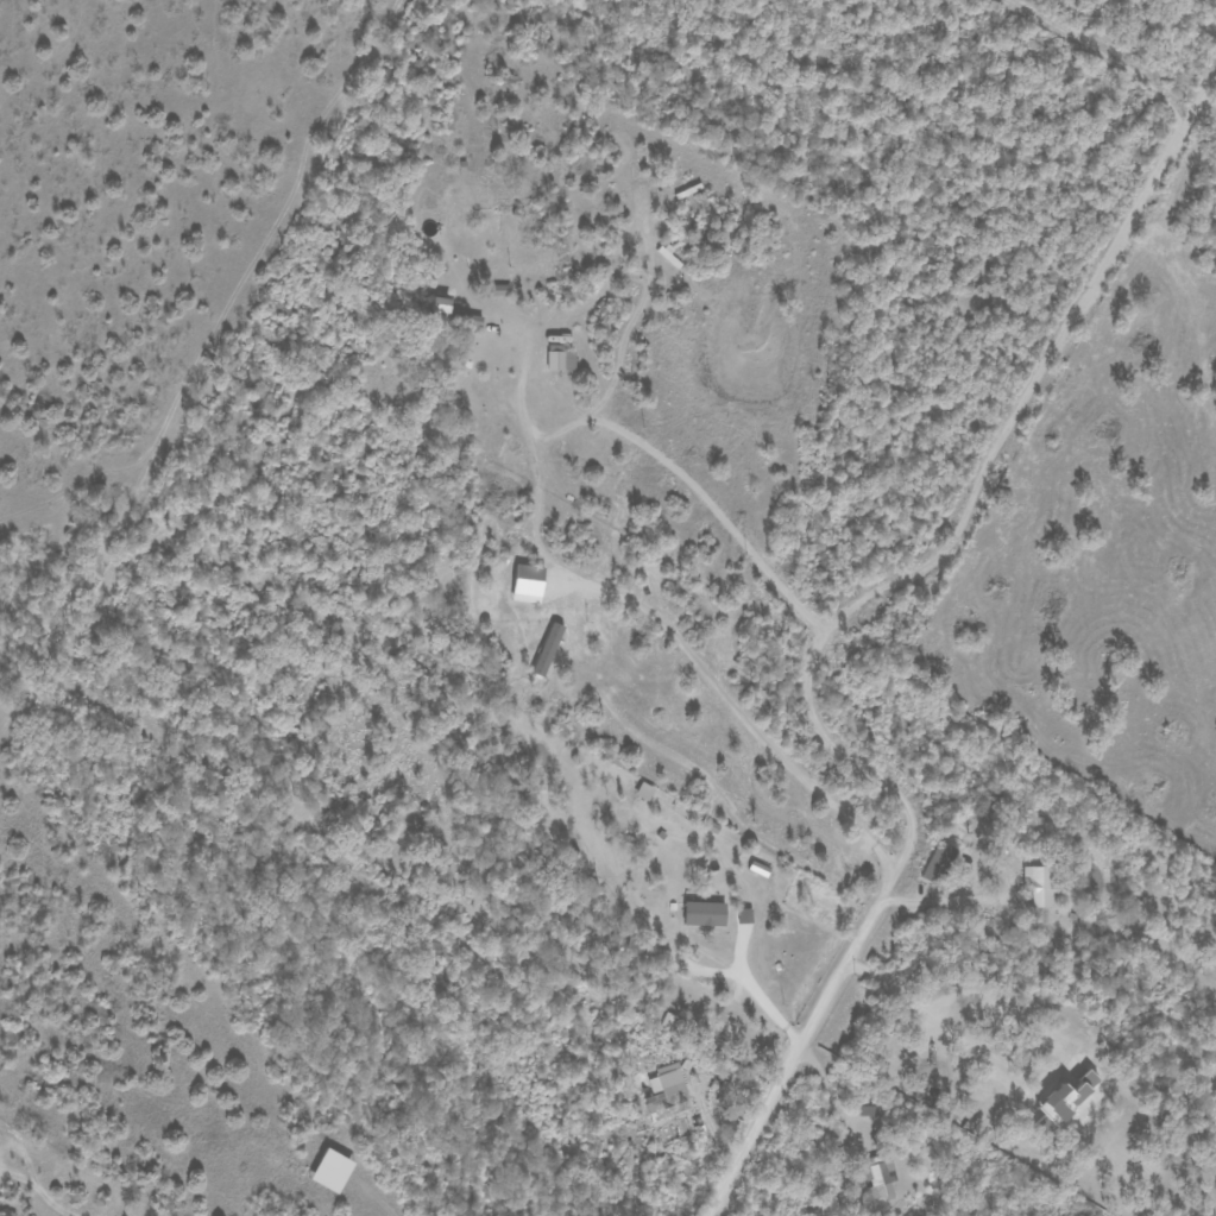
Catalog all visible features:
road: (1126, 62)
building: (502, 290)
building: (443, 304)
building: (559, 359)
road: (560, 430)
road: (1047, 435)
road: (638, 442)
building: (529, 584)
road: (828, 626)
building: (548, 648)
road: (723, 687)
road: (609, 711)
building: (939, 863)
building: (760, 869)
building: (1038, 884)
road: (945, 902)
building: (705, 913)
building: (687, 966)
road: (760, 998)
building: (668, 1091)
road: (830, 1098)
building: (1065, 1102)
building: (868, 1110)
building: (333, 1171)
building: (878, 1176)
road: (36, 1192)

